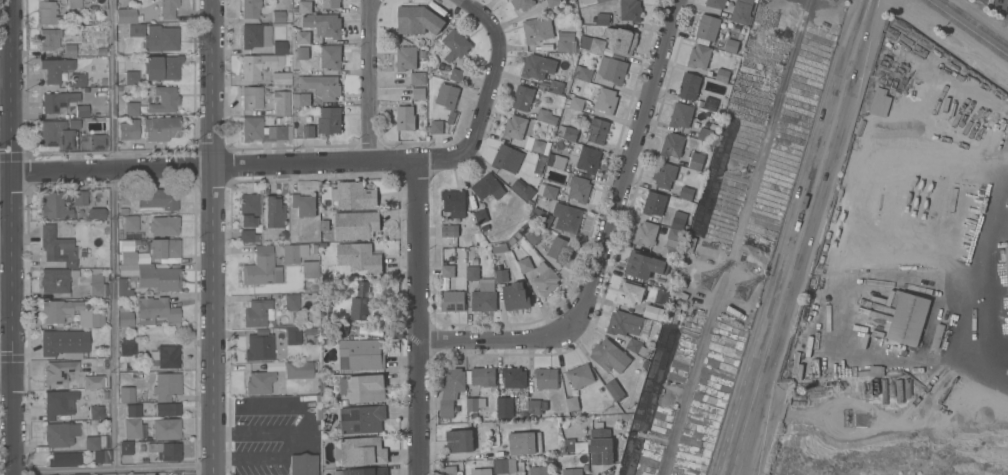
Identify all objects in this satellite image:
building: (600, 1)
building: (748, 1)
building: (553, 2)
building: (331, 3)
building: (716, 3)
building: (74, 4)
building: (522, 4)
building: (608, 6)
building: (305, 7)
building: (168, 8)
building: (250, 8)
building: (295, 9)
building: (630, 10)
building: (47, 12)
building: (741, 13)
building: (128, 15)
building: (278, 16)
building: (603, 18)
building: (418, 20)
railway: (975, 22)
building: (324, 25)
building: (707, 27)
railway: (968, 27)
building: (537, 29)
building: (83, 31)
building: (255, 35)
building: (155, 36)
building: (303, 37)
building: (49, 38)
building: (621, 40)
building: (566, 42)
building: (592, 43)
building: (456, 44)
building: (731, 45)
building: (279, 46)
building: (69, 50)
building: (101, 51)
building: (303, 53)
building: (331, 56)
building: (699, 56)
building: (406, 58)
building: (100, 63)
building: (258, 64)
building: (537, 66)
building: (161, 67)
building: (55, 68)
building: (612, 69)
building: (583, 73)
building: (457, 75)
building: (722, 75)
building: (131, 77)
building: (281, 78)
building: (418, 78)
building: (77, 79)
road: (370, 81)
building: (322, 86)
building: (556, 86)
building: (691, 86)
building: (118, 89)
building: (419, 93)
road: (488, 93)
building: (447, 96)
building: (251, 97)
building: (522, 98)
building: (164, 99)
building: (301, 99)
building: (56, 100)
building: (606, 100)
building: (281, 102)
building: (880, 102)
building: (576, 103)
building: (710, 103)
building: (131, 108)
building: (81, 110)
building: (684, 114)
building: (546, 116)
building: (405, 118)
building: (278, 120)
building: (330, 120)
building: (74, 124)
building: (437, 126)
building: (515, 127)
building: (150, 128)
building: (263, 130)
building: (598, 130)
building: (308, 131)
building: (571, 134)
building: (704, 134)
building: (57, 135)
building: (97, 138)
building: (672, 145)
building: (538, 146)
building: (508, 158)
building: (588, 159)
building: (557, 161)
building: (696, 161)
road: (213, 164)
building: (539, 164)
building: (667, 175)
building: (488, 187)
building: (578, 188)
road: (9, 189)
building: (523, 189)
building: (547, 190)
building: (686, 193)
building: (354, 195)
building: (79, 197)
building: (67, 198)
building: (158, 198)
building: (706, 200)
building: (654, 203)
building: (303, 204)
building: (54, 206)
building: (136, 210)
building: (248, 210)
building: (123, 211)
building: (272, 211)
building: (452, 211)
building: (96, 213)
building: (481, 216)
building: (568, 217)
building: (545, 219)
building: (679, 221)
road: (805, 221)
building: (129, 223)
building: (164, 225)
building: (325, 225)
building: (356, 225)
road: (114, 233)
building: (646, 233)
building: (476, 234)
building: (247, 236)
building: (533, 236)
road: (212, 237)
building: (514, 237)
building: (136, 241)
road: (604, 241)
building: (674, 244)
building: (57, 247)
building: (163, 248)
building: (500, 248)
building: (560, 249)
building: (293, 253)
building: (127, 257)
building: (360, 257)
building: (475, 261)
building: (469, 262)
building: (525, 264)
building: (1007, 264)
building: (644, 265)
building: (261, 267)
building: (308, 269)
building: (447, 271)
building: (473, 273)
building: (501, 275)
building: (158, 277)
building: (545, 279)
building: (54, 280)
road: (979, 281)
building: (97, 283)
power tower: (714, 284)
building: (121, 286)
building: (314, 287)
building: (630, 292)
power tower: (744, 293)
building: (484, 296)
building: (516, 296)
building: (661, 297)
building: (453, 301)
building: (292, 302)
building: (361, 302)
building: (156, 312)
building: (258, 312)
building: (653, 312)
building: (69, 313)
building: (125, 318)
road: (418, 319)
building: (909, 319)
building: (624, 323)
building: (293, 335)
building: (64, 342)
building: (127, 346)
building: (259, 347)
building: (638, 347)
building: (362, 354)
building: (166, 356)
building: (609, 356)
building: (298, 370)
building: (59, 371)
building: (876, 371)
building: (482, 376)
building: (580, 376)
building: (514, 377)
road: (6, 378)
building: (546, 378)
building: (93, 382)
building: (259, 382)
building: (167, 386)
building: (363, 388)
building: (450, 389)
building: (615, 389)
building: (884, 391)
building: (900, 391)
building: (126, 394)
building: (344, 402)
building: (572, 403)
building: (56, 404)
building: (473, 404)
building: (537, 406)
building: (504, 407)
building: (167, 409)
building: (133, 410)
building: (96, 414)
building: (361, 419)
road: (12, 426)
building: (132, 427)
building: (646, 427)
building: (166, 428)
building: (60, 434)
building: (460, 440)
building: (525, 443)
building: (571, 445)
building: (601, 446)
building: (126, 447)
building: (96, 449)
building: (165, 451)
building: (359, 451)
building: (64, 458)
road: (733, 459)
building: (302, 464)
building: (505, 465)
building: (585, 467)
road: (112, 468)
building: (448, 470)
building: (539, 470)
building: (362, 471)
building: (481, 471)
building: (572, 471)
building: (79, 474)
building: (108, 474)

